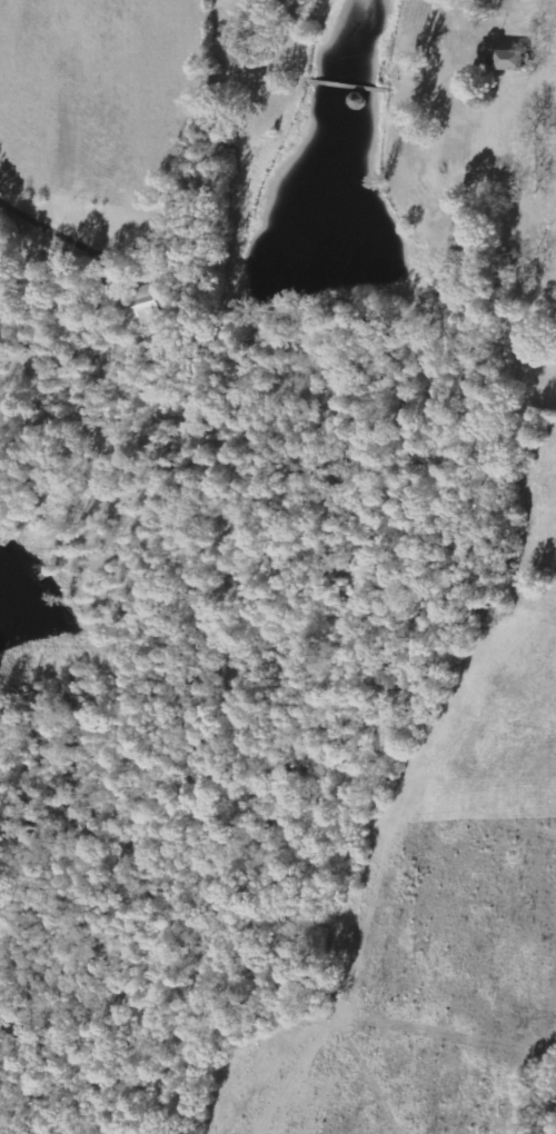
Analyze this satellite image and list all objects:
building: (514, 60)

